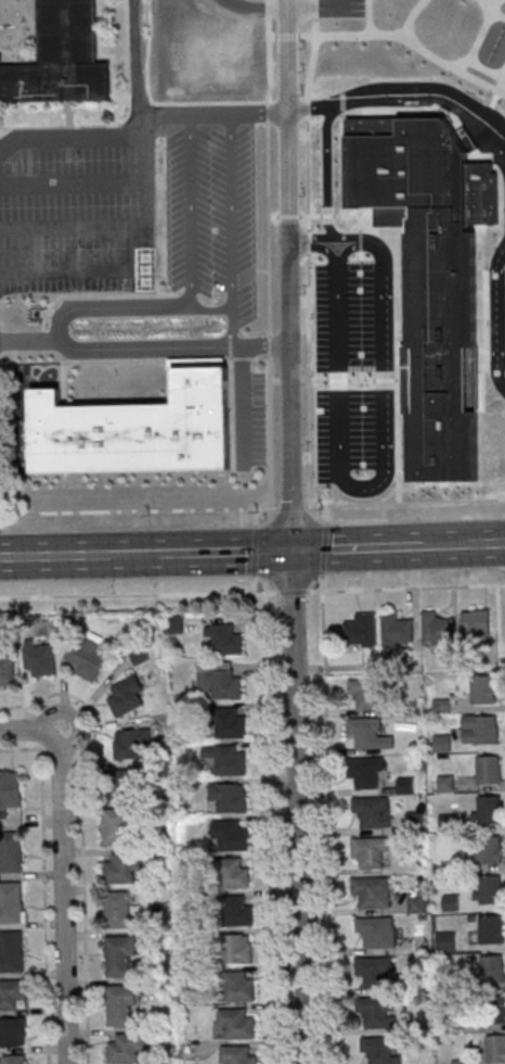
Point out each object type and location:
road: (318, 7)
parking lot: (340, 8)
road: (490, 8)
road: (258, 9)
road: (314, 9)
road: (368, 16)
road: (410, 16)
road: (498, 16)
road: (283, 36)
road: (407, 40)
park: (399, 49)
road: (471, 53)
road: (137, 56)
building: (61, 58)
road: (462, 61)
road: (410, 99)
road: (493, 100)
road: (157, 101)
road: (215, 113)
road: (392, 114)
road: (78, 136)
road: (342, 152)
road: (327, 169)
road: (73, 180)
road: (191, 208)
parking lot: (77, 210)
parking lot: (212, 215)
road: (273, 215)
road: (288, 215)
road: (353, 215)
road: (73, 226)
road: (231, 229)
road: (329, 237)
road: (348, 248)
road: (269, 253)
road: (309, 262)
road: (130, 263)
building: (429, 276)
road: (135, 305)
road: (497, 316)
road: (485, 320)
road: (30, 337)
road: (172, 346)
road: (397, 347)
road: (243, 357)
road: (261, 360)
parking lot: (354, 376)
road: (350, 379)
road: (289, 380)
road: (275, 381)
road: (243, 405)
parking lot: (250, 419)
building: (137, 428)
road: (403, 473)
road: (351, 484)
road: (405, 502)
road: (292, 506)
road: (139, 509)
road: (326, 515)
road: (255, 516)
road: (292, 532)
road: (488, 542)
road: (448, 543)
road: (358, 545)
traffic signals: (292, 548)
road: (323, 548)
road: (224, 549)
road: (254, 549)
road: (134, 553)
road: (55, 554)
road: (254, 583)
road: (406, 587)
road: (293, 592)
road: (139, 594)
road: (498, 615)
building: (174, 622)
building: (476, 623)
building: (397, 629)
building: (438, 629)
building: (362, 630)
building: (225, 639)
building: (87, 657)
building: (41, 659)
building: (7, 668)
building: (219, 680)
building: (482, 689)
building: (368, 694)
building: (128, 696)
road: (74, 717)
building: (232, 723)
building: (480, 730)
building: (370, 733)
building: (132, 743)
building: (442, 744)
building: (229, 759)
building: (489, 770)
building: (365, 772)
building: (446, 783)
building: (126, 784)
building: (11, 789)
building: (230, 796)
building: (489, 809)
building: (373, 812)
road: (331, 819)
building: (116, 826)
road: (271, 827)
road: (82, 834)
building: (232, 834)
building: (488, 849)
building: (370, 852)
building: (11, 853)
building: (122, 866)
building: (234, 873)
road: (63, 874)
road: (43, 885)
building: (489, 889)
building: (372, 891)
building: (419, 901)
building: (11, 903)
building: (450, 903)
building: (119, 909)
building: (238, 911)
building: (491, 928)
building: (377, 932)
building: (445, 941)
building: (420, 943)
building: (238, 948)
building: (11, 952)
building: (119, 955)
building: (493, 968)
building: (373, 972)
building: (237, 985)
building: (12, 996)
building: (121, 1006)
building: (494, 1009)
building: (375, 1012)
building: (235, 1023)
building: (14, 1033)
building: (127, 1048)
building: (495, 1048)
building: (381, 1049)
building: (236, 1055)
building: (14, 1060)

